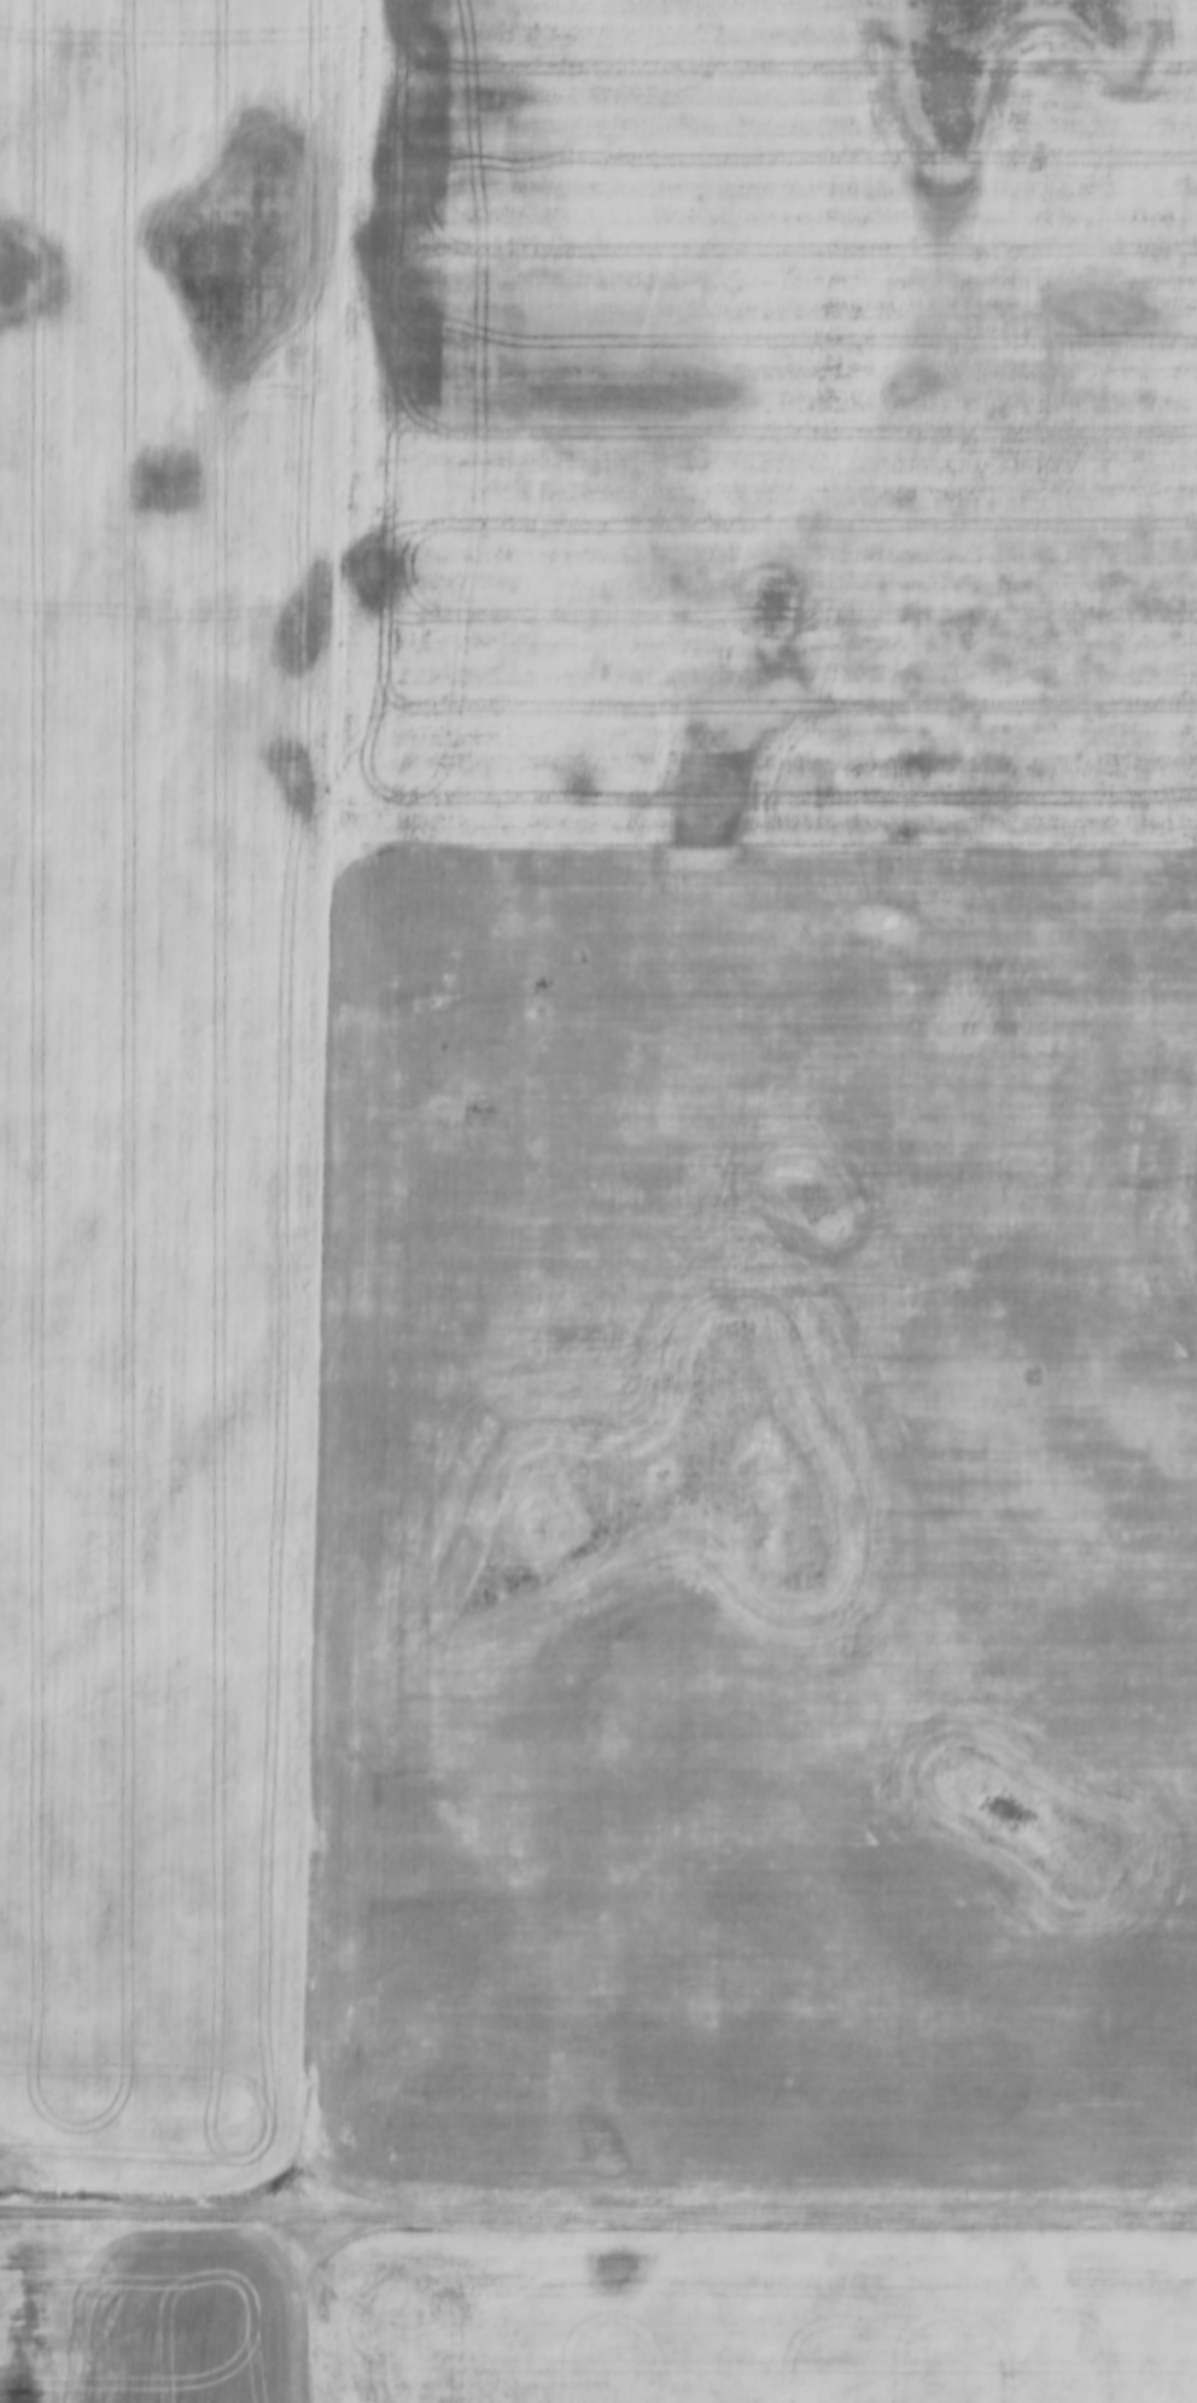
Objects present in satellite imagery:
road: (598, 2216)

